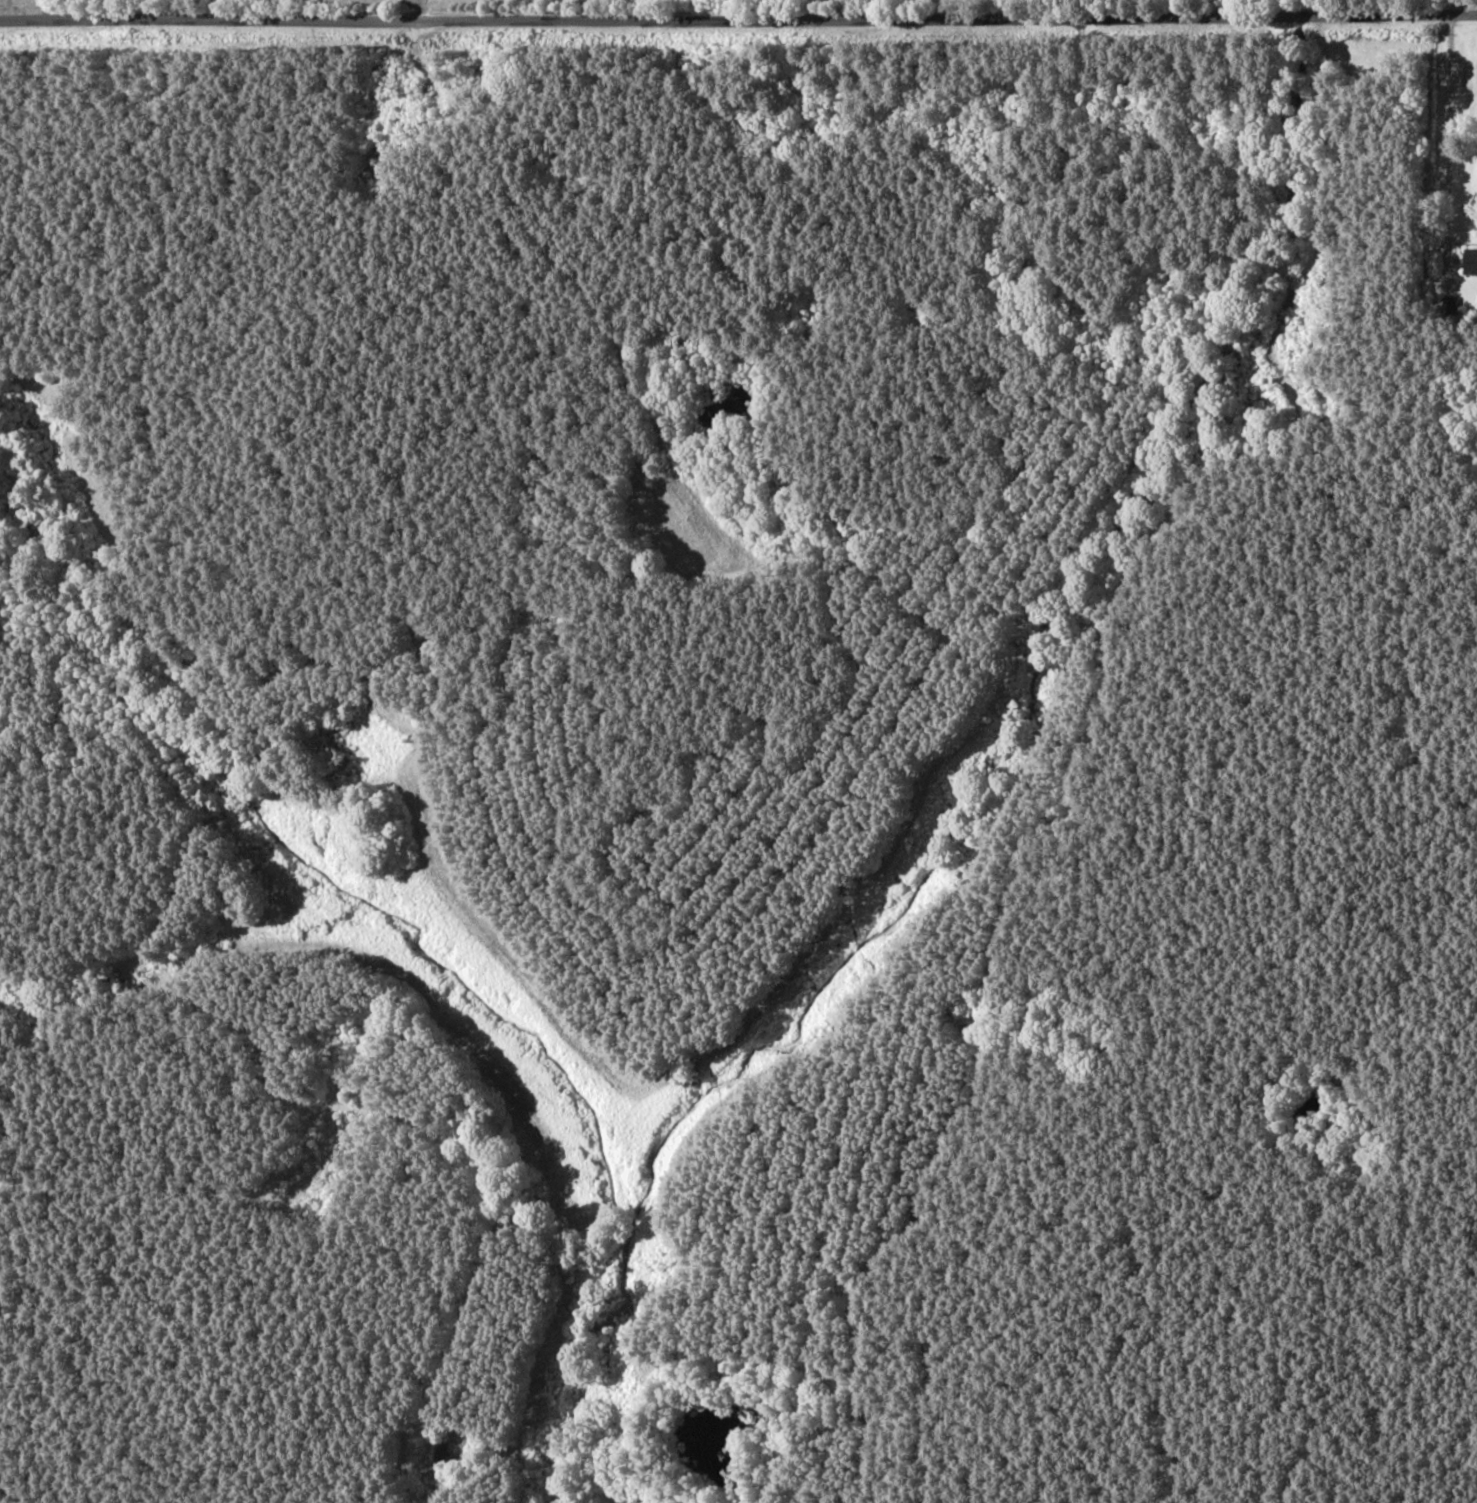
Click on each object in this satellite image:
road: (451, 5)
road: (734, 7)
building: (1471, 260)
road: (87, 1238)

